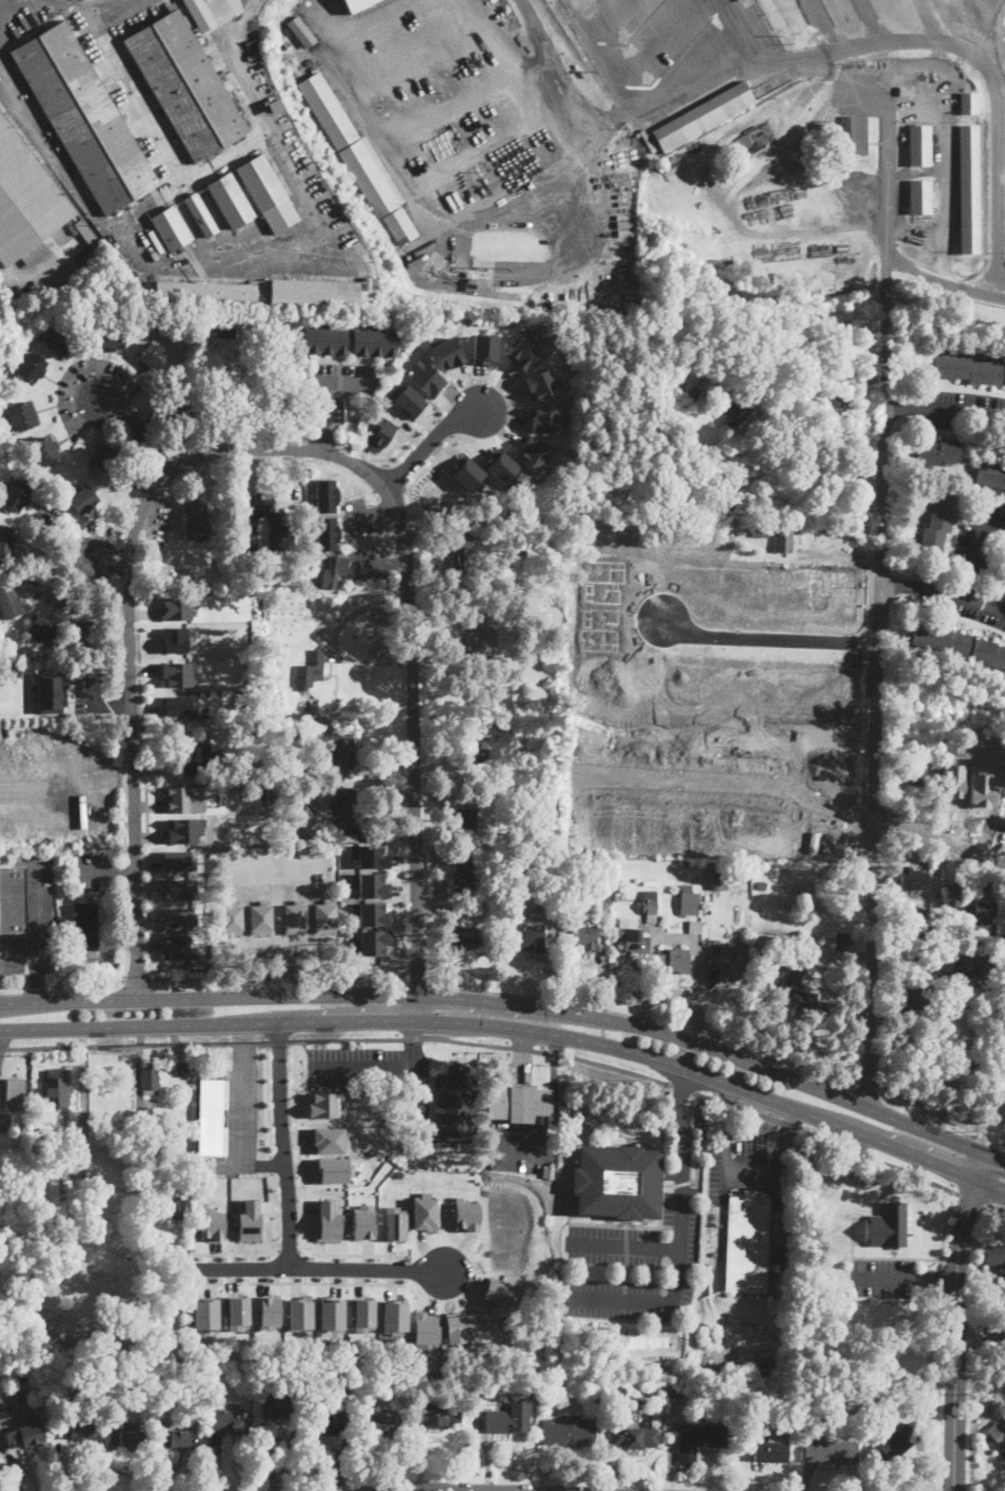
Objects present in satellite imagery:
building: (580, 3)
building: (357, 4)
road: (93, 6)
building: (200, 14)
building: (797, 17)
road: (935, 23)
building: (27, 24)
road: (872, 24)
road: (826, 26)
building: (301, 31)
road: (739, 32)
road: (597, 54)
road: (836, 54)
building: (953, 73)
building: (755, 83)
building: (185, 85)
building: (906, 91)
building: (968, 103)
building: (274, 106)
building: (327, 110)
building: (703, 116)
building: (83, 118)
building: (853, 134)
building: (646, 141)
building: (920, 145)
road: (886, 150)
road: (206, 165)
building: (474, 174)
building: (368, 179)
building: (261, 183)
building: (968, 189)
building: (920, 196)
building: (26, 200)
building: (230, 201)
building: (201, 215)
building: (400, 226)
building: (171, 228)
building: (88, 235)
building: (156, 239)
road: (944, 280)
building: (366, 282)
building: (479, 283)
building: (816, 289)
building: (206, 292)
building: (518, 292)
building: (315, 294)
building: (546, 296)
building: (226, 328)
building: (113, 337)
building: (60, 338)
building: (325, 340)
building: (374, 342)
building: (485, 349)
building: (524, 350)
building: (447, 352)
building: (153, 356)
building: (31, 366)
building: (286, 368)
building: (969, 370)
building: (427, 377)
building: (676, 382)
building: (541, 383)
building: (693, 391)
road: (324, 395)
building: (409, 398)
building: (252, 401)
building: (838, 405)
parking lot: (956, 407)
building: (176, 408)
road: (945, 408)
building: (735, 413)
building: (22, 417)
building: (545, 418)
road: (446, 424)
building: (380, 431)
road: (135, 433)
road: (414, 436)
road: (429, 441)
road: (277, 447)
building: (44, 451)
building: (533, 453)
building: (938, 453)
building: (107, 459)
road: (426, 465)
building: (500, 466)
building: (675, 470)
building: (465, 471)
building: (991, 475)
building: (727, 490)
building: (326, 494)
building: (16, 495)
building: (83, 499)
building: (501, 508)
building: (182, 520)
building: (196, 521)
building: (937, 524)
building: (247, 525)
building: (760, 531)
building: (324, 532)
parking lot: (977, 539)
building: (784, 541)
building: (6, 545)
road: (975, 547)
building: (465, 551)
building: (182, 555)
road: (105, 558)
building: (336, 571)
road: (944, 593)
parking lot: (961, 599)
building: (8, 601)
building: (177, 607)
building: (43, 627)
building: (88, 630)
building: (484, 630)
building: (174, 639)
road: (335, 639)
road: (766, 640)
building: (959, 644)
building: (309, 670)
building: (175, 674)
building: (50, 691)
building: (179, 705)
building: (309, 709)
road: (880, 717)
building: (496, 728)
building: (337, 750)
building: (480, 751)
building: (197, 754)
building: (307, 775)
building: (915, 776)
road: (742, 789)
building: (961, 792)
building: (186, 798)
road: (149, 805)
building: (303, 805)
building: (346, 812)
building: (466, 818)
building: (182, 830)
road: (149, 841)
road: (942, 841)
building: (555, 844)
building: (372, 856)
building: (176, 859)
road: (402, 859)
building: (614, 862)
road: (146, 868)
road: (106, 869)
parking lot: (93, 870)
building: (461, 872)
road: (148, 878)
building: (912, 879)
building: (717, 881)
building: (649, 882)
building: (369, 883)
road: (148, 885)
building: (761, 885)
building: (178, 888)
road: (401, 890)
building: (949, 894)
building: (10, 900)
building: (689, 901)
road: (402, 904)
building: (604, 904)
building: (650, 905)
building: (982, 910)
building: (371, 912)
building: (175, 915)
road: (403, 919)
parking lot: (31, 922)
road: (147, 923)
building: (87, 924)
building: (694, 926)
building: (918, 930)
road: (35, 931)
building: (586, 936)
building: (631, 936)
road: (404, 938)
building: (464, 938)
road: (681, 939)
building: (527, 940)
building: (842, 941)
building: (372, 942)
road: (148, 943)
building: (176, 947)
road: (18, 954)
building: (1003, 957)
building: (662, 959)
building: (677, 960)
building: (730, 963)
building: (964, 965)
road: (601, 971)
building: (951, 980)
building: (797, 992)
road: (672, 994)
building: (910, 1001)
road: (515, 1003)
traffic signals: (523, 1005)
road: (516, 1027)
traffic signals: (523, 1029)
road: (413, 1038)
road: (347, 1039)
road: (280, 1041)
road: (134, 1044)
road: (417, 1044)
road: (240, 1045)
road: (522, 1045)
road: (549, 1052)
building: (956, 1063)
parking lot: (367, 1064)
building: (182, 1068)
road: (371, 1068)
building: (172, 1069)
building: (150, 1080)
building: (1001, 1085)
building: (57, 1089)
road: (682, 1089)
building: (14, 1094)
road: (266, 1099)
building: (455, 1102)
building: (324, 1103)
building: (519, 1103)
building: (147, 1111)
parking lot: (240, 1111)
road: (728, 1115)
road: (680, 1116)
building: (212, 1117)
road: (552, 1118)
road: (782, 1133)
road: (238, 1139)
road: (828, 1139)
building: (328, 1140)
road: (702, 1143)
road: (282, 1145)
parking lot: (526, 1147)
building: (496, 1162)
road: (271, 1163)
parking lot: (745, 1169)
building: (332, 1170)
building: (197, 1173)
road: (745, 1177)
building: (618, 1180)
road: (681, 1182)
building: (199, 1187)
road: (302, 1195)
road: (972, 1199)
building: (145, 1207)
road: (995, 1207)
building: (173, 1209)
building: (424, 1212)
building: (465, 1214)
building: (248, 1220)
building: (329, 1220)
building: (362, 1222)
building: (394, 1223)
building: (210, 1224)
building: (888, 1225)
road: (945, 1228)
building: (747, 1243)
parking lot: (613, 1245)
parking lot: (677, 1247)
road: (275, 1248)
road: (666, 1248)
road: (272, 1249)
road: (302, 1249)
road: (289, 1250)
building: (995, 1256)
road: (897, 1258)
road: (322, 1268)
road: (401, 1269)
parking lot: (883, 1276)
road: (884, 1277)
road: (935, 1278)
road: (940, 1279)
road: (301, 1282)
building: (499, 1291)
road: (648, 1302)
building: (268, 1311)
building: (205, 1312)
building: (236, 1312)
building: (299, 1313)
building: (331, 1313)
building: (363, 1314)
building: (395, 1315)
road: (953, 1319)
building: (458, 1326)
building: (1002, 1333)
building: (425, 1334)
building: (877, 1335)
building: (339, 1379)
building: (385, 1382)
building: (878, 1382)
road: (938, 1390)
building: (653, 1391)
building: (168, 1394)
building: (676, 1394)
building: (760, 1395)
building: (283, 1405)
building: (851, 1406)
building: (438, 1416)
building: (327, 1421)
building: (504, 1421)
building: (228, 1423)
building: (379, 1424)
building: (131, 1425)
building: (79, 1429)
building: (569, 1431)
building: (998, 1433)
building: (25, 1436)
building: (127, 1436)
building: (634, 1437)
building: (179, 1440)
building: (699, 1440)
building: (894, 1445)
road: (971, 1447)
building: (829, 1449)
building: (769, 1451)
road: (285, 1462)
road: (11, 1478)
road: (428, 1489)

